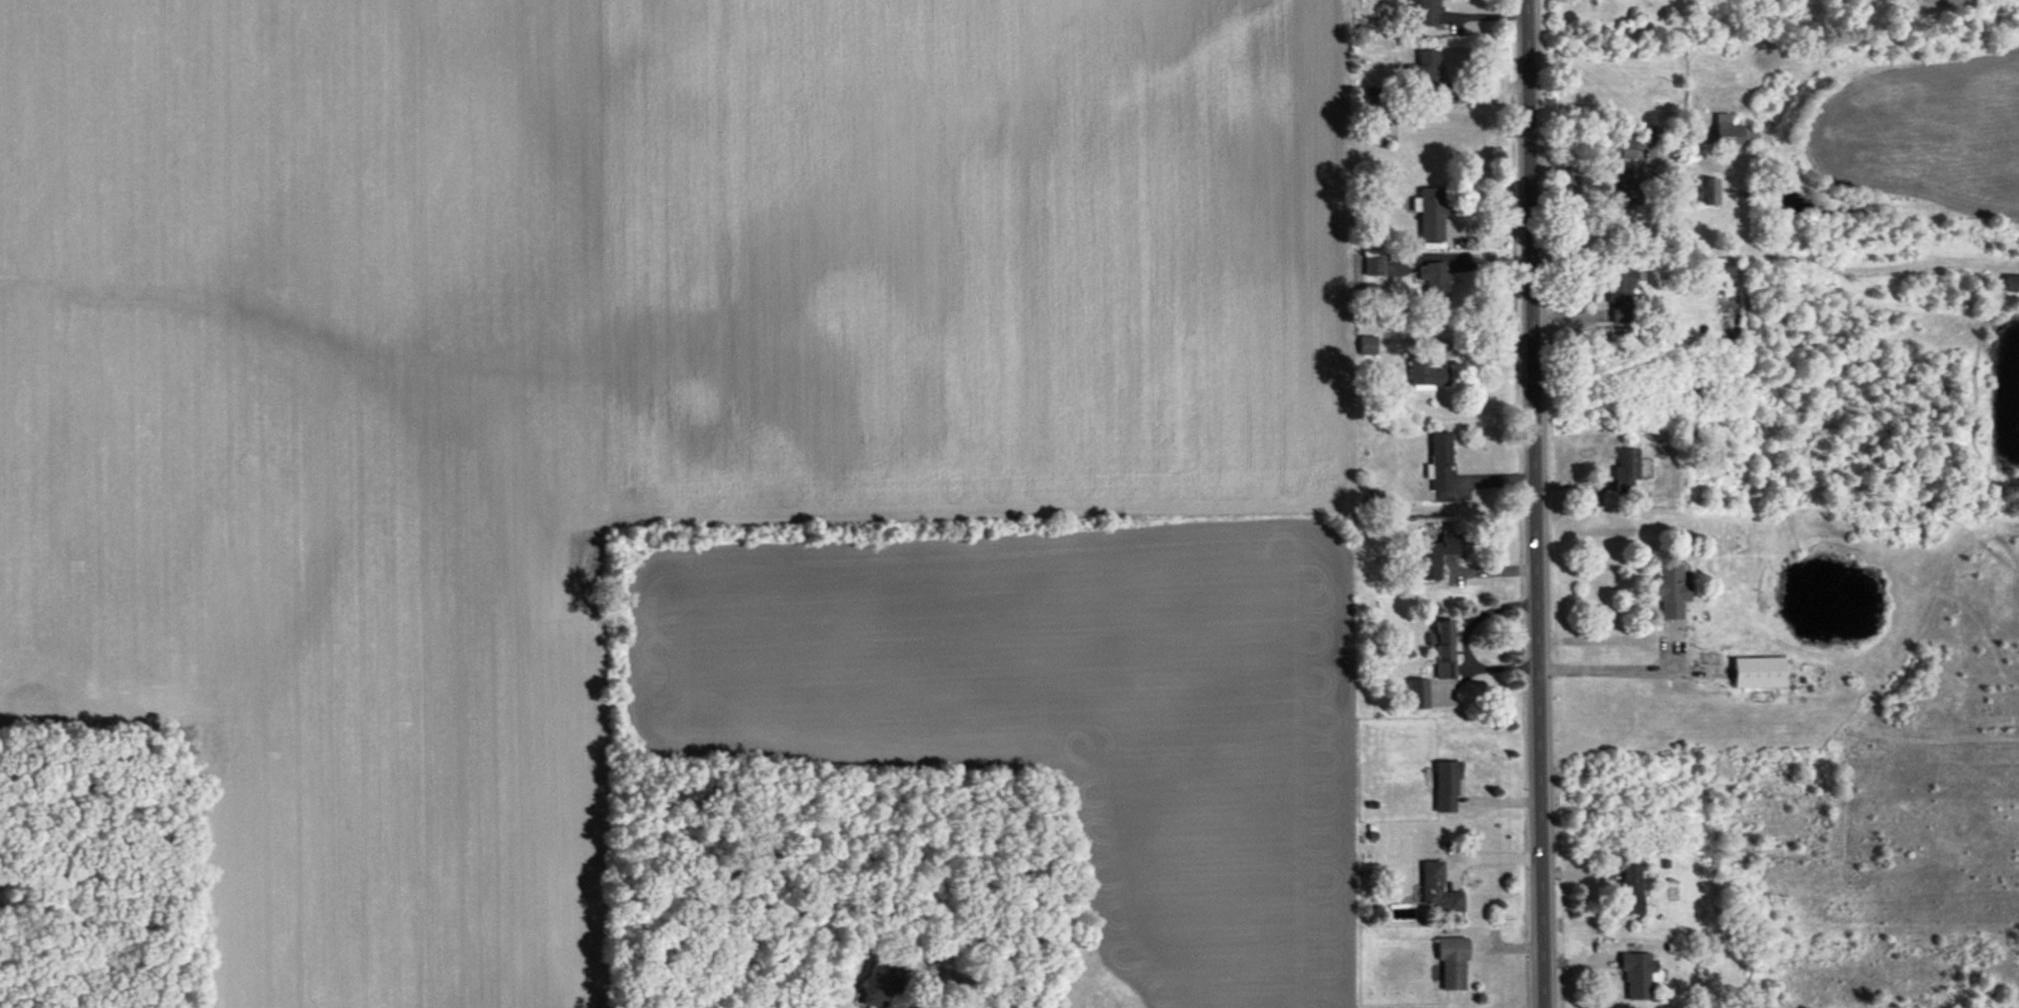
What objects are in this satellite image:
building: (1425, 13)
building: (1428, 67)
building: (1367, 95)
building: (1748, 131)
building: (1374, 133)
building: (1649, 135)
building: (1620, 150)
building: (1708, 191)
building: (1622, 198)
building: (1430, 213)
building: (1374, 266)
building: (1434, 280)
building: (2011, 283)
building: (1619, 294)
building: (1367, 345)
road: (1456, 347)
building: (1427, 373)
building: (1440, 461)
road: (1534, 503)
building: (1434, 556)
building: (1671, 590)
road: (1466, 643)
building: (1443, 648)
road: (1623, 669)
building: (1757, 672)
building: (1417, 693)
building: (1446, 784)
building: (1438, 889)
building: (1629, 889)
building: (1452, 962)
building: (1638, 975)
road: (989, 978)
building: (883, 980)

